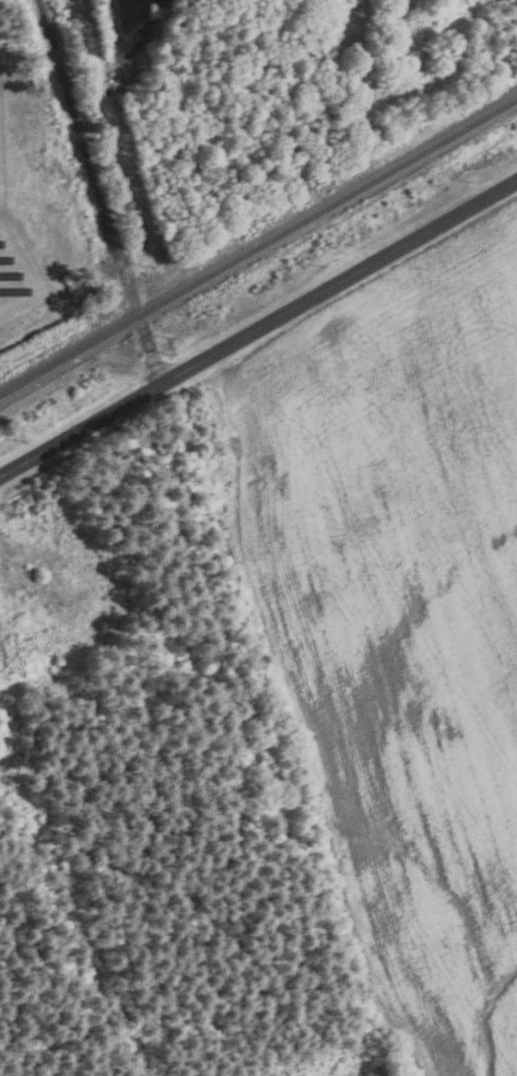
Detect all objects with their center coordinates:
road: (75, 124)
railway: (259, 248)
solar farm: (16, 257)
road: (258, 328)

